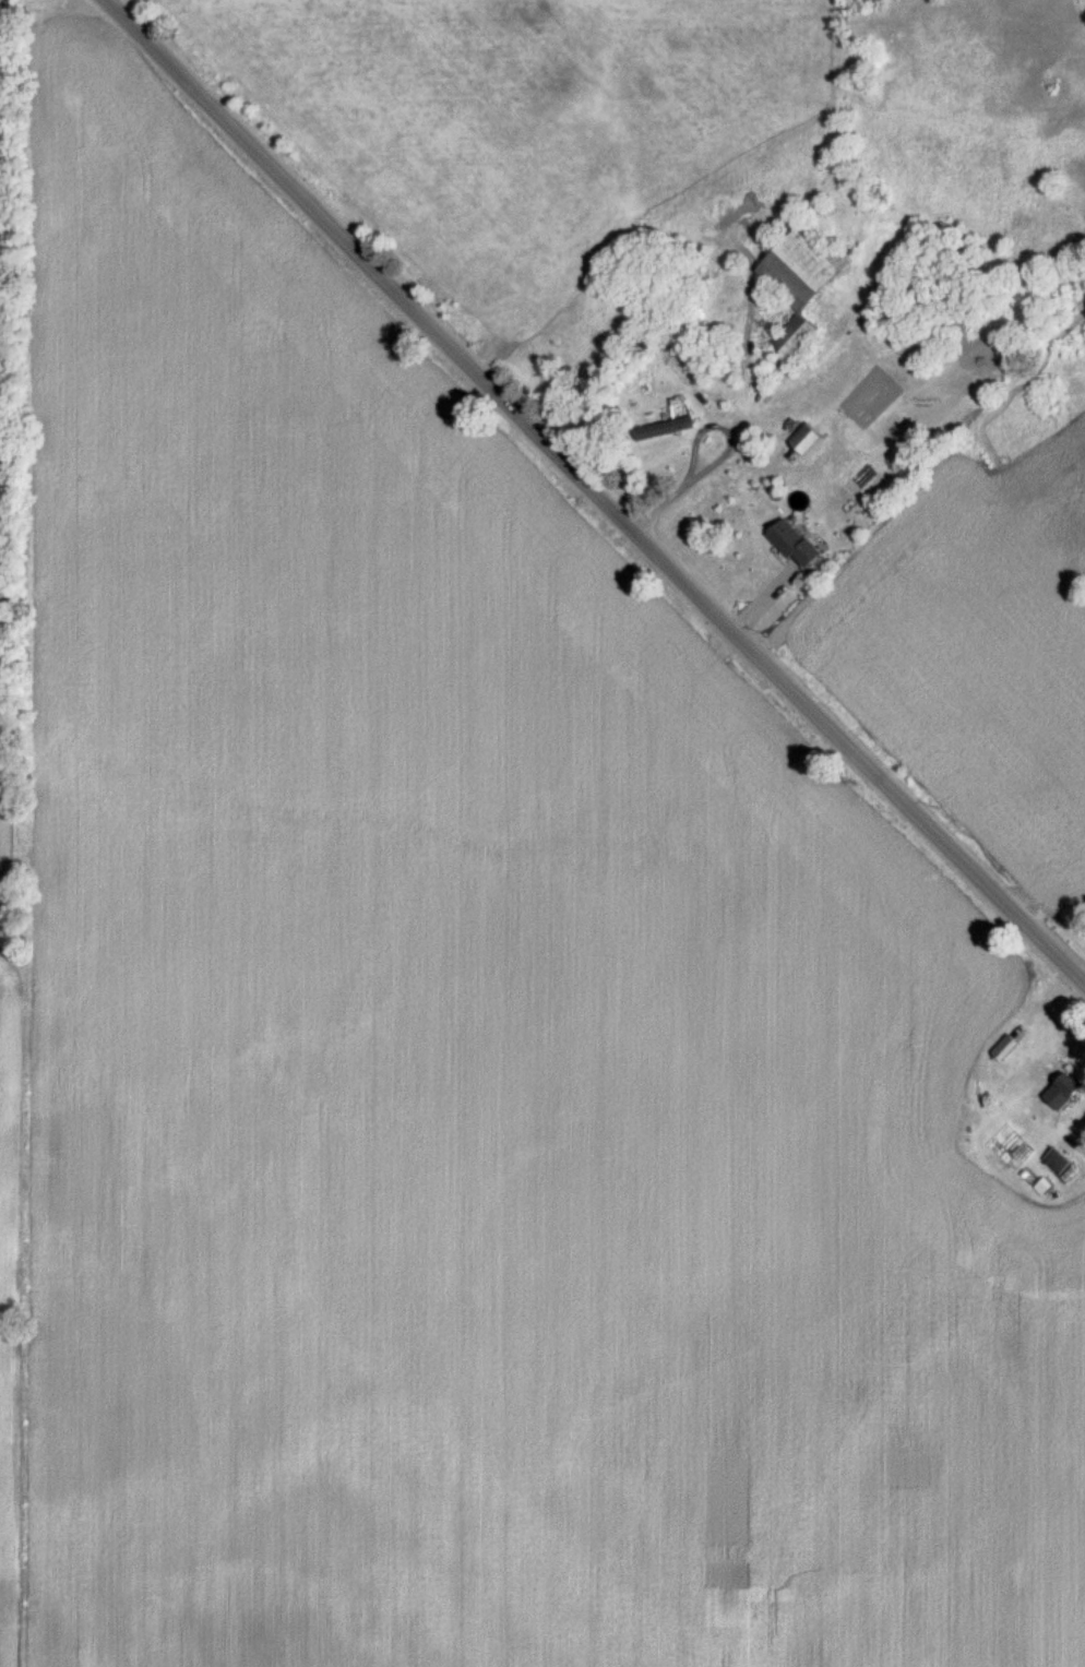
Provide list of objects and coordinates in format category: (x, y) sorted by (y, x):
building: (797, 269)
building: (789, 335)
building: (661, 429)
building: (803, 441)
road: (717, 461)
road: (594, 490)
building: (790, 544)
building: (1001, 1049)
building: (1059, 1092)
road: (1082, 1146)

